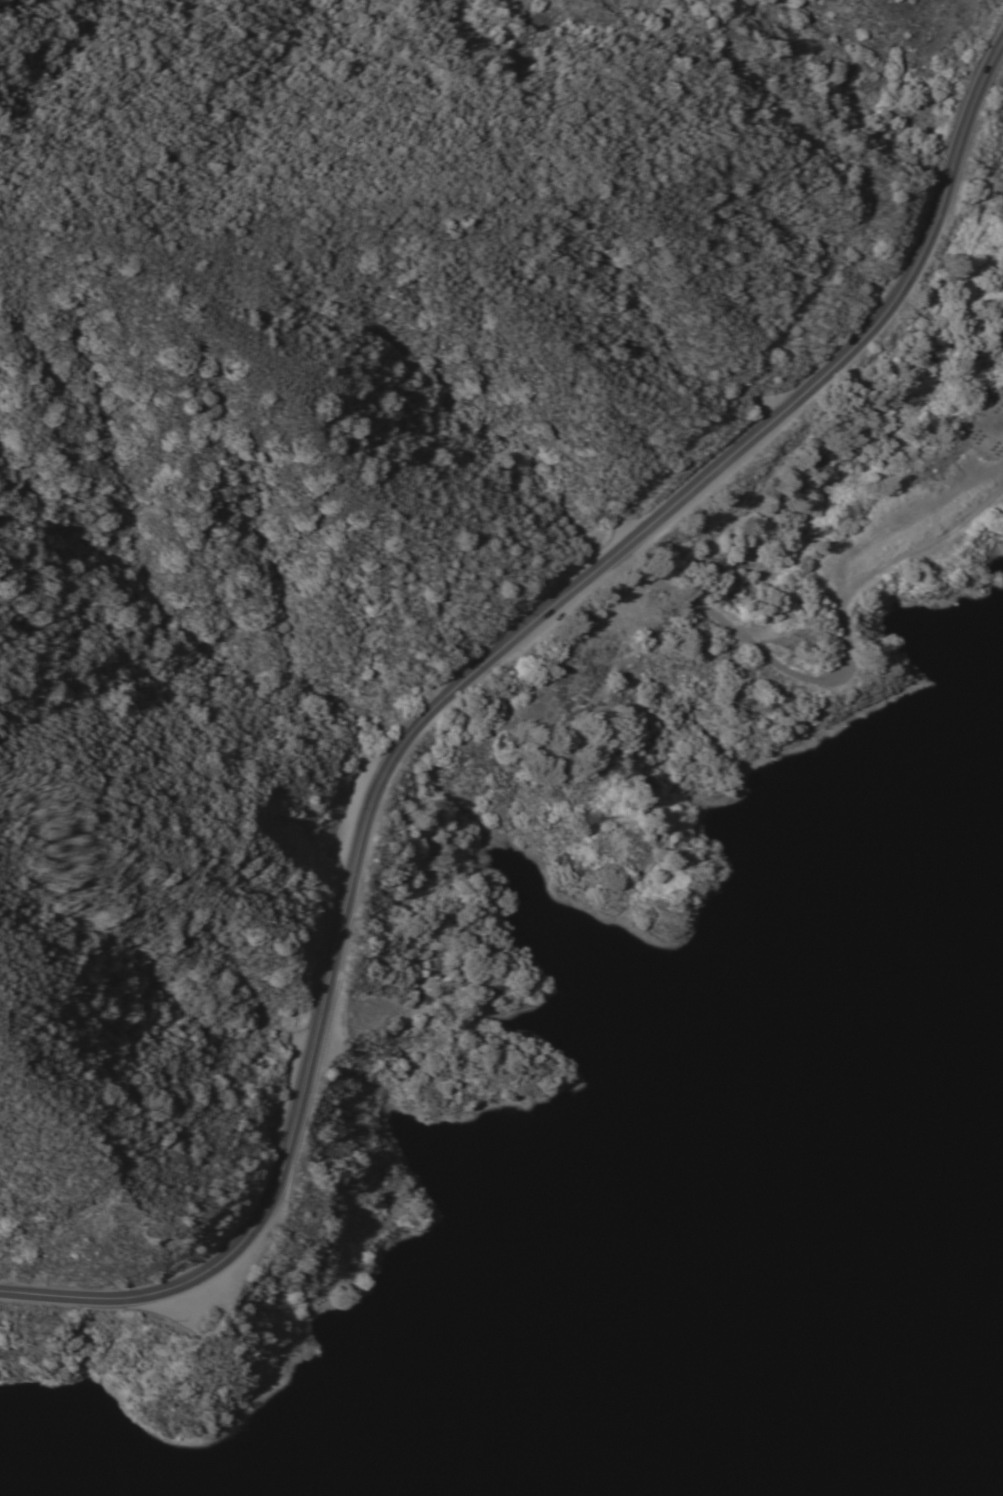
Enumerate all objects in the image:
road: (813, 680)
road: (458, 683)
parking lot: (204, 1294)
river: (889, 1383)

